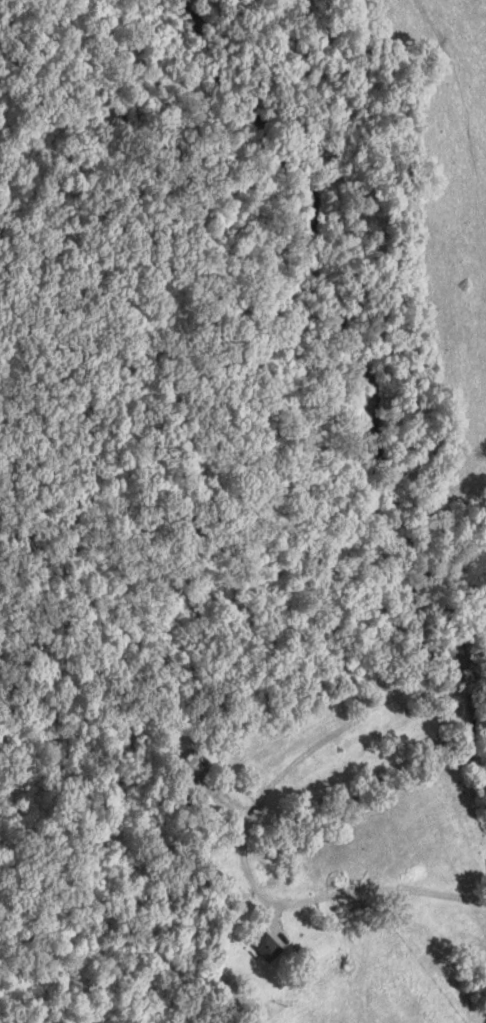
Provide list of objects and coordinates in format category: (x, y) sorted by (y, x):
building: (190, 766)
building: (196, 801)
road: (394, 823)
building: (266, 947)

